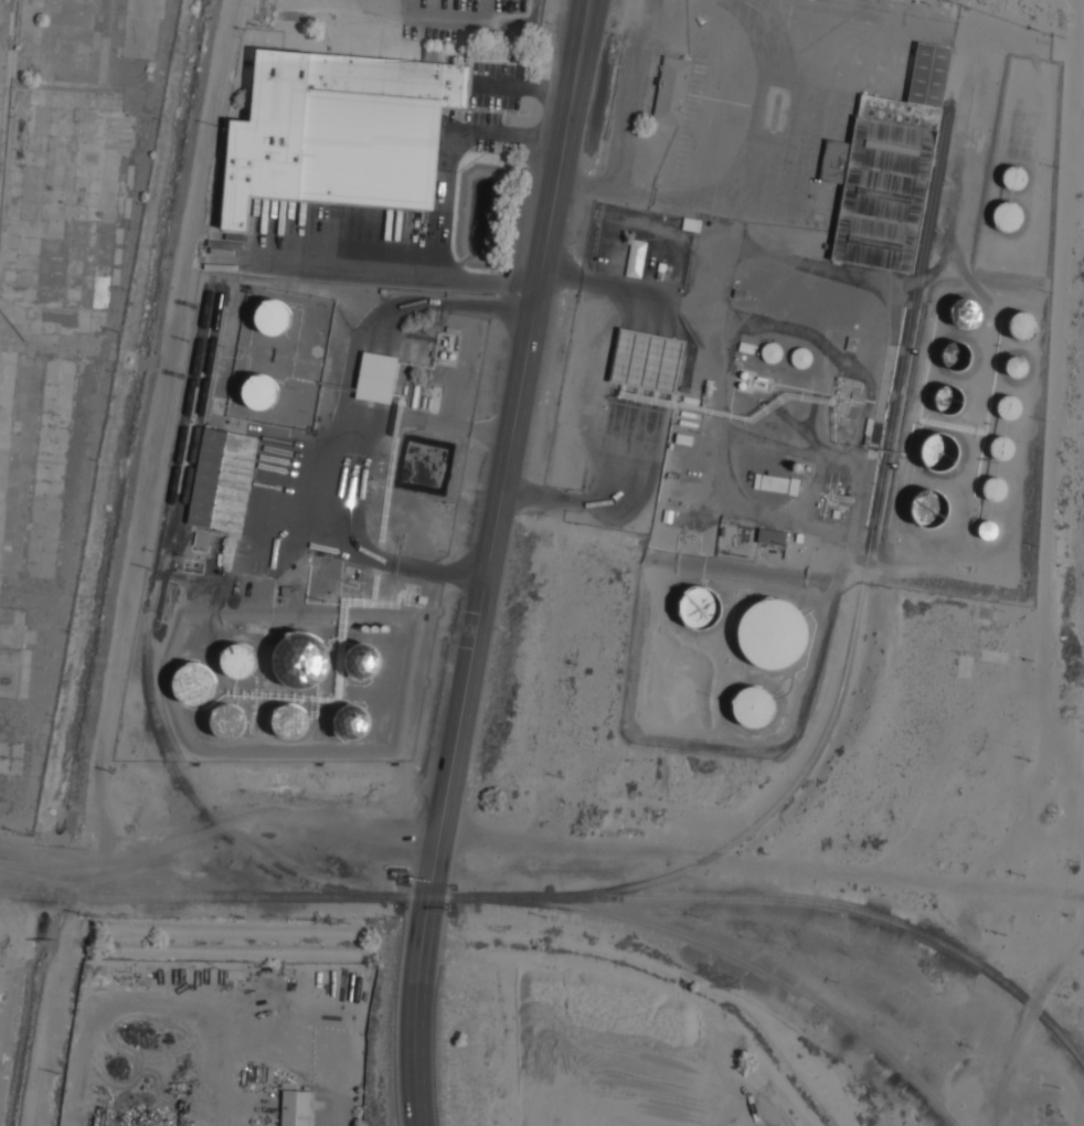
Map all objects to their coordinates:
road: (563, 85)
road: (585, 86)
building: (672, 91)
building: (340, 131)
building: (888, 169)
building: (1014, 177)
storage tank: (1014, 177)
building: (1008, 215)
storage tank: (1008, 215)
building: (636, 257)
road: (613, 287)
road: (483, 308)
building: (966, 312)
storage tank: (966, 312)
building: (273, 316)
storage tank: (273, 316)
building: (1023, 326)
storage tank: (1023, 326)
building: (771, 352)
storage tank: (771, 352)
building: (956, 355)
storage tank: (956, 355)
building: (801, 357)
storage tank: (801, 357)
building: (1017, 367)
storage tank: (1017, 367)
building: (744, 374)
storage tank: (744, 374)
building: (376, 376)
building: (742, 384)
storage tank: (742, 384)
building: (261, 392)
storage tank: (261, 392)
building: (949, 399)
storage tank: (949, 399)
building: (1010, 406)
storage tank: (1010, 406)
road: (427, 421)
railway: (194, 445)
building: (1002, 448)
storage tank: (1002, 448)
building: (939, 452)
storage tank: (939, 452)
road: (330, 471)
building: (223, 481)
building: (776, 484)
building: (995, 488)
storage tank: (995, 488)
road: (498, 507)
building: (931, 508)
storage tank: (931, 508)
building: (988, 530)
storage tank: (988, 530)
building: (772, 535)
building: (201, 539)
railway: (860, 581)
building: (700, 607)
storage tank: (700, 607)
building: (773, 633)
storage tank: (773, 633)
railway: (147, 660)
building: (238, 660)
storage tank: (238, 660)
building: (364, 661)
storage tank: (364, 661)
building: (302, 662)
storage tank: (302, 662)
building: (196, 684)
storage tank: (196, 684)
building: (754, 707)
storage tank: (754, 707)
building: (229, 722)
storage tank: (229, 722)
building: (353, 722)
storage tank: (353, 722)
building: (291, 723)
storage tank: (291, 723)
road: (761, 862)
railway: (568, 896)
railway: (741, 959)
road: (419, 984)
building: (296, 1108)

